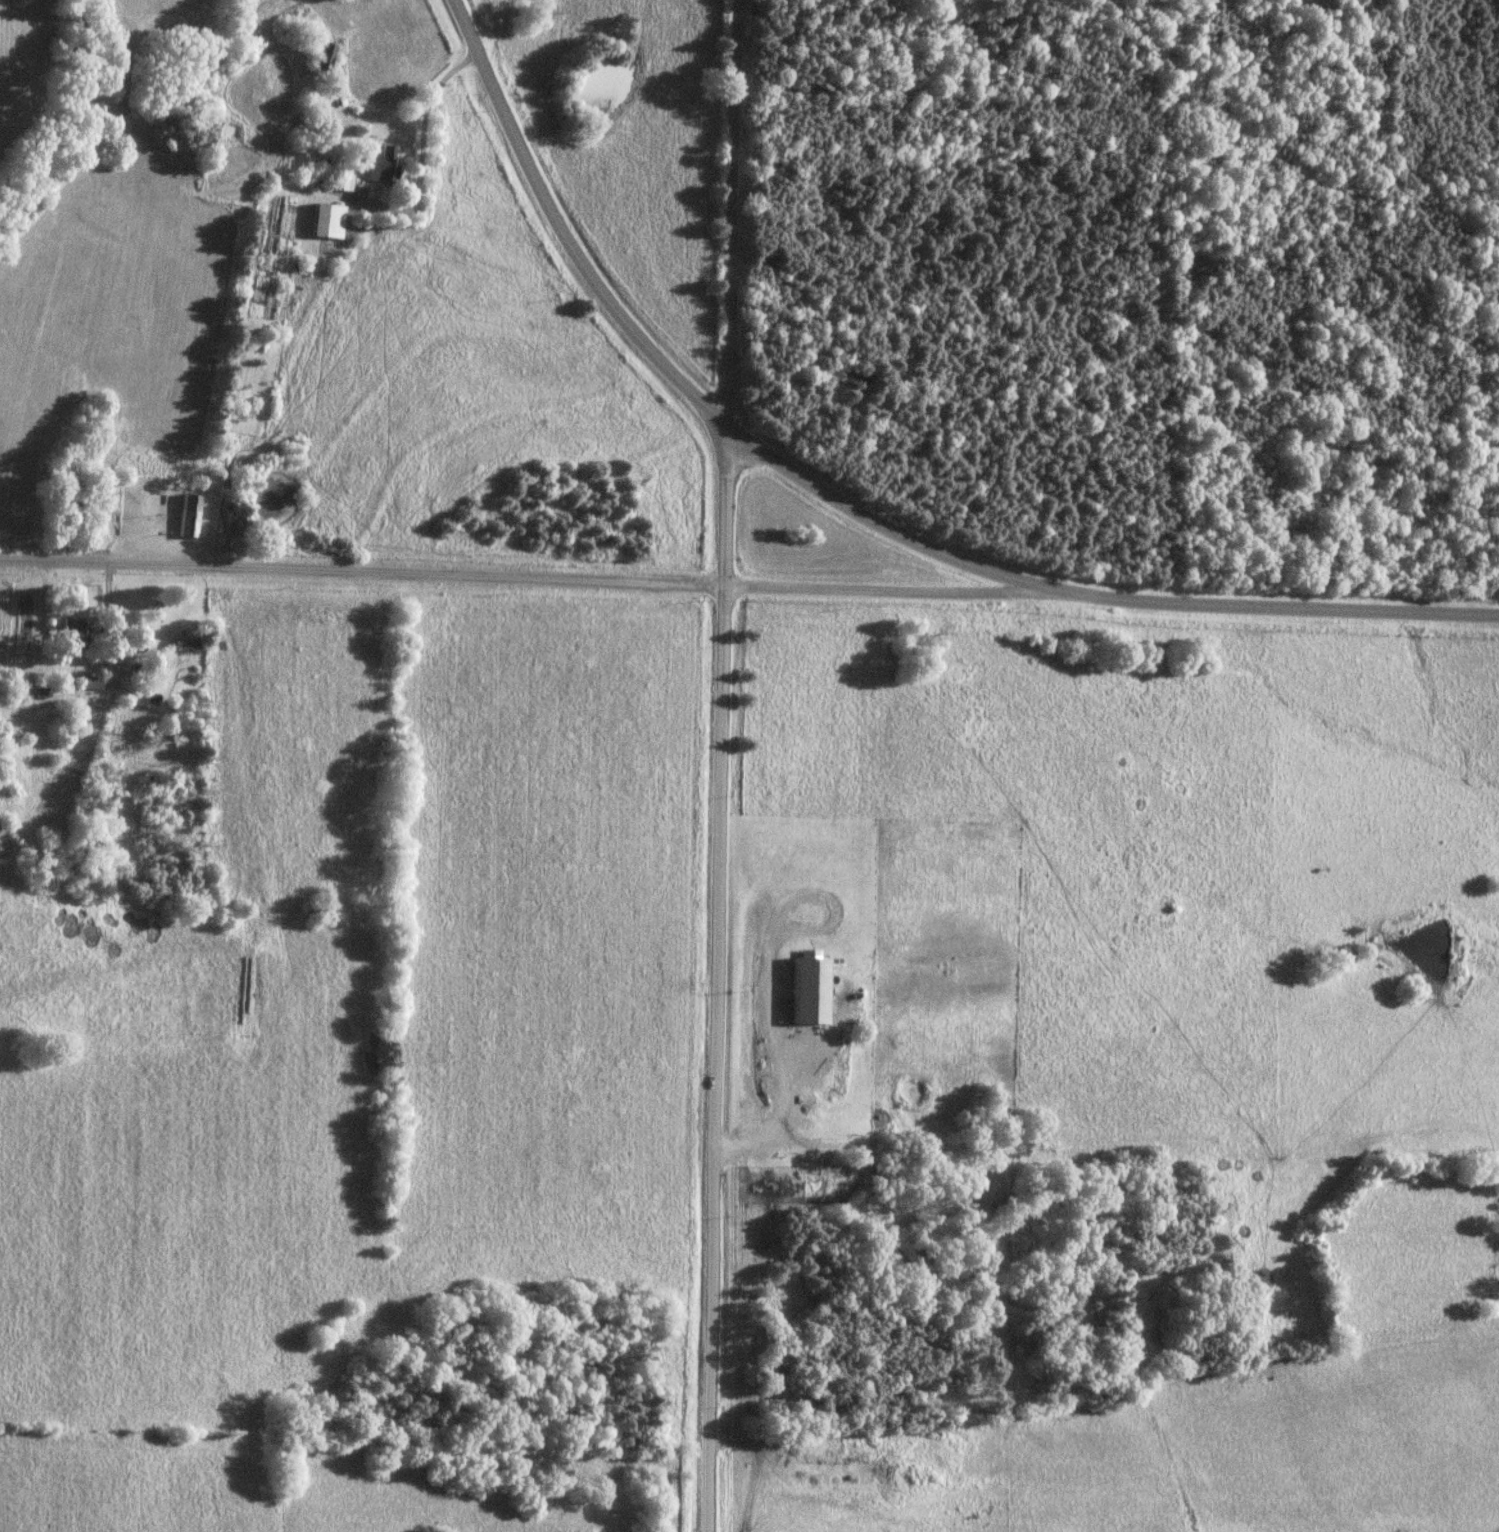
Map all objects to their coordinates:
building: (325, 59)
building: (387, 167)
building: (346, 183)
road: (732, 217)
building: (331, 222)
road: (276, 238)
road: (853, 508)
building: (193, 517)
road: (523, 576)
building: (76, 634)
road: (114, 650)
building: (92, 683)
road: (721, 983)

